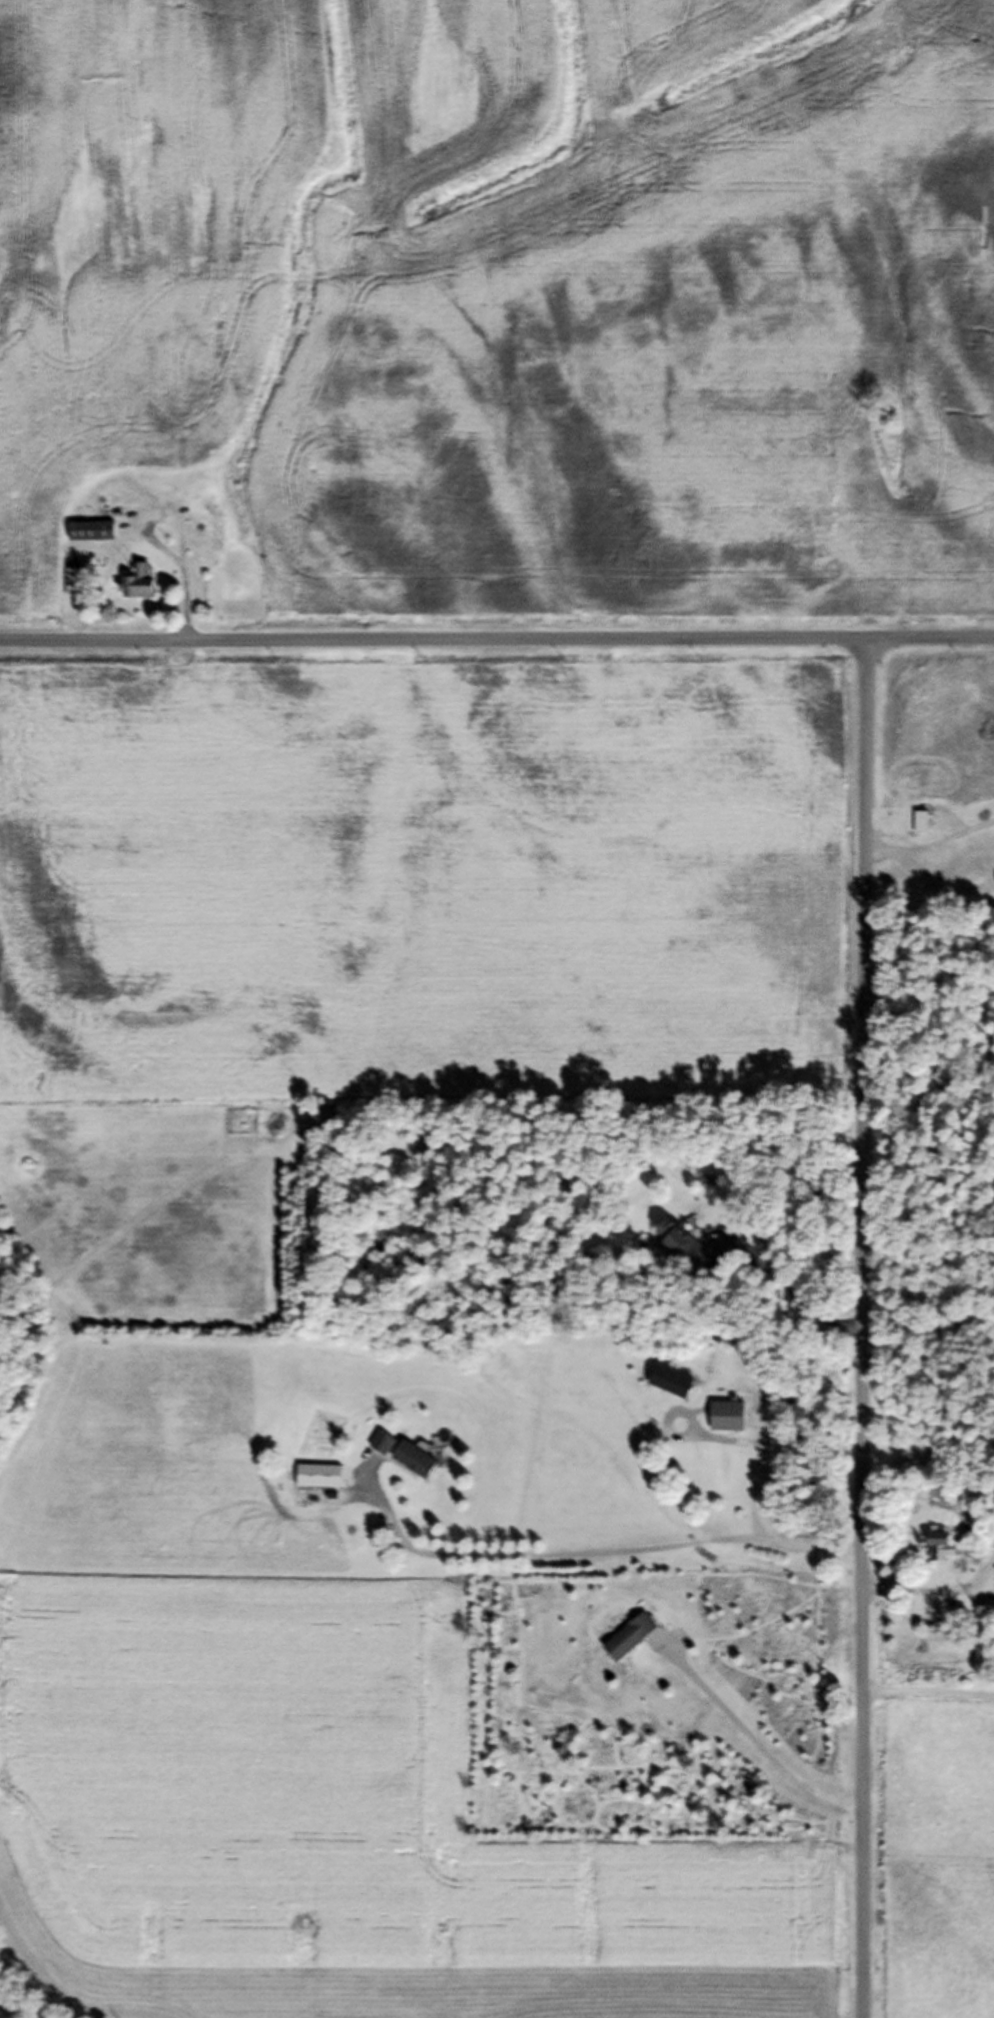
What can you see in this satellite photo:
building: (91, 537)
building: (74, 588)
building: (141, 589)
road: (497, 640)
building: (920, 828)
building: (934, 892)
road: (862, 1328)
building: (726, 1423)
building: (417, 1467)
building: (722, 1469)
building: (321, 1483)
road: (751, 1493)
building: (940, 1546)
road: (586, 1558)
building: (631, 1645)
road: (928, 1700)
road: (751, 1748)

